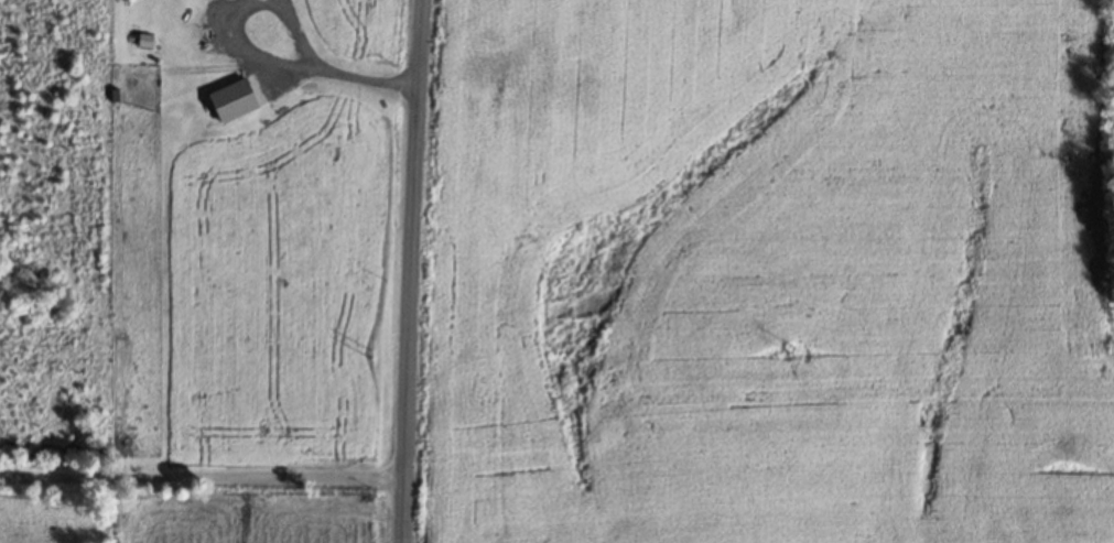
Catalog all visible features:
road: (415, 271)
road: (204, 486)

